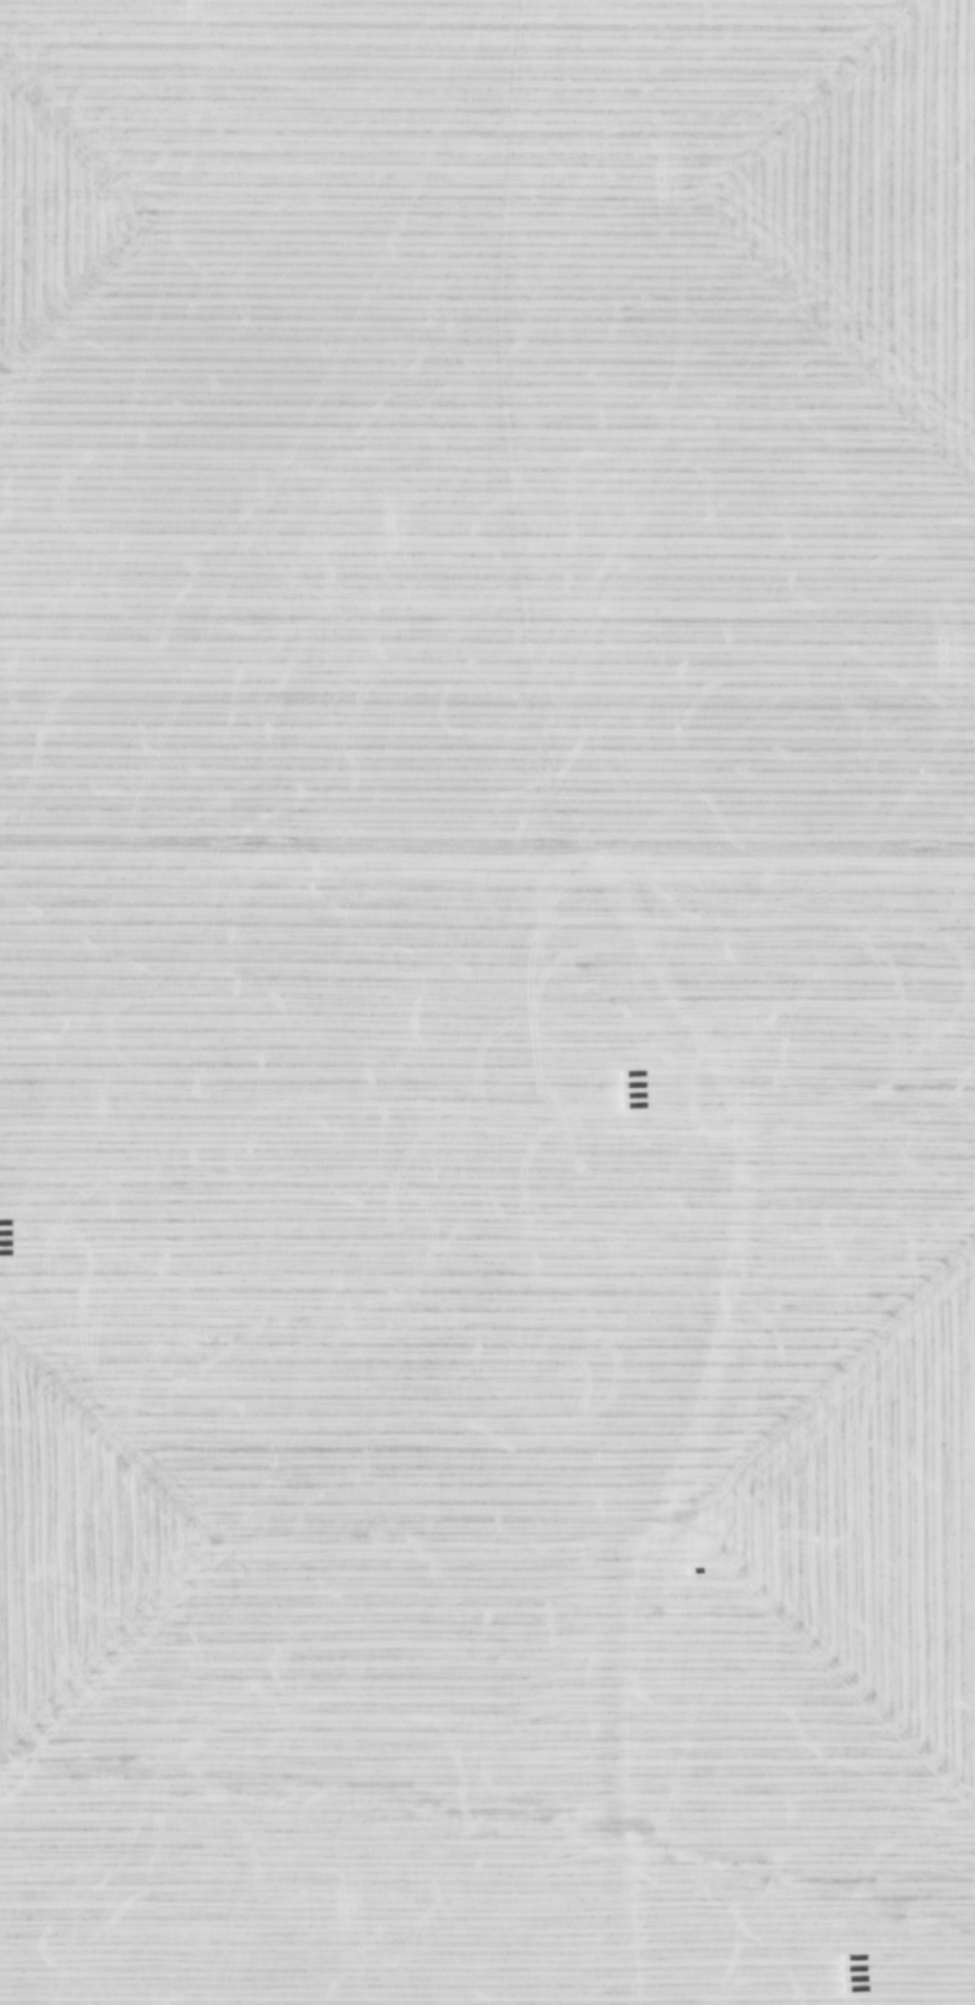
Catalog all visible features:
crop: (487, 1002)

